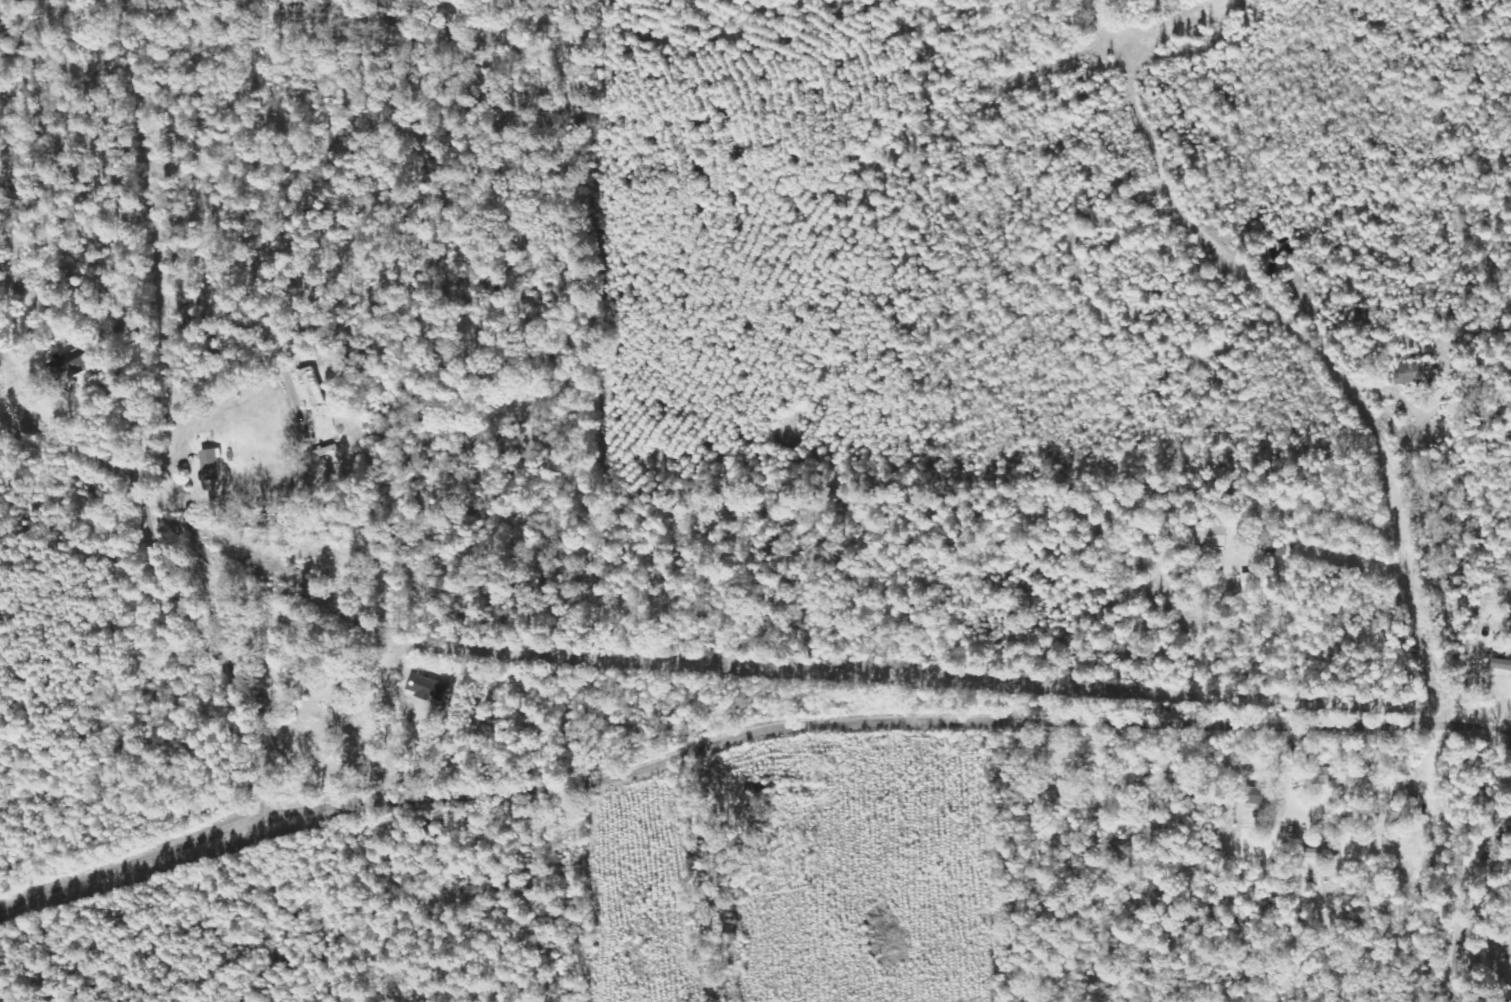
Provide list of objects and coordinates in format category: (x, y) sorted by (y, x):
road: (1316, 509)
road: (1409, 516)
road: (159, 538)
building: (1258, 580)
building: (1500, 665)
road: (337, 682)
building: (432, 688)
road: (747, 735)
building: (1253, 796)
road: (1467, 909)
road: (1487, 962)

